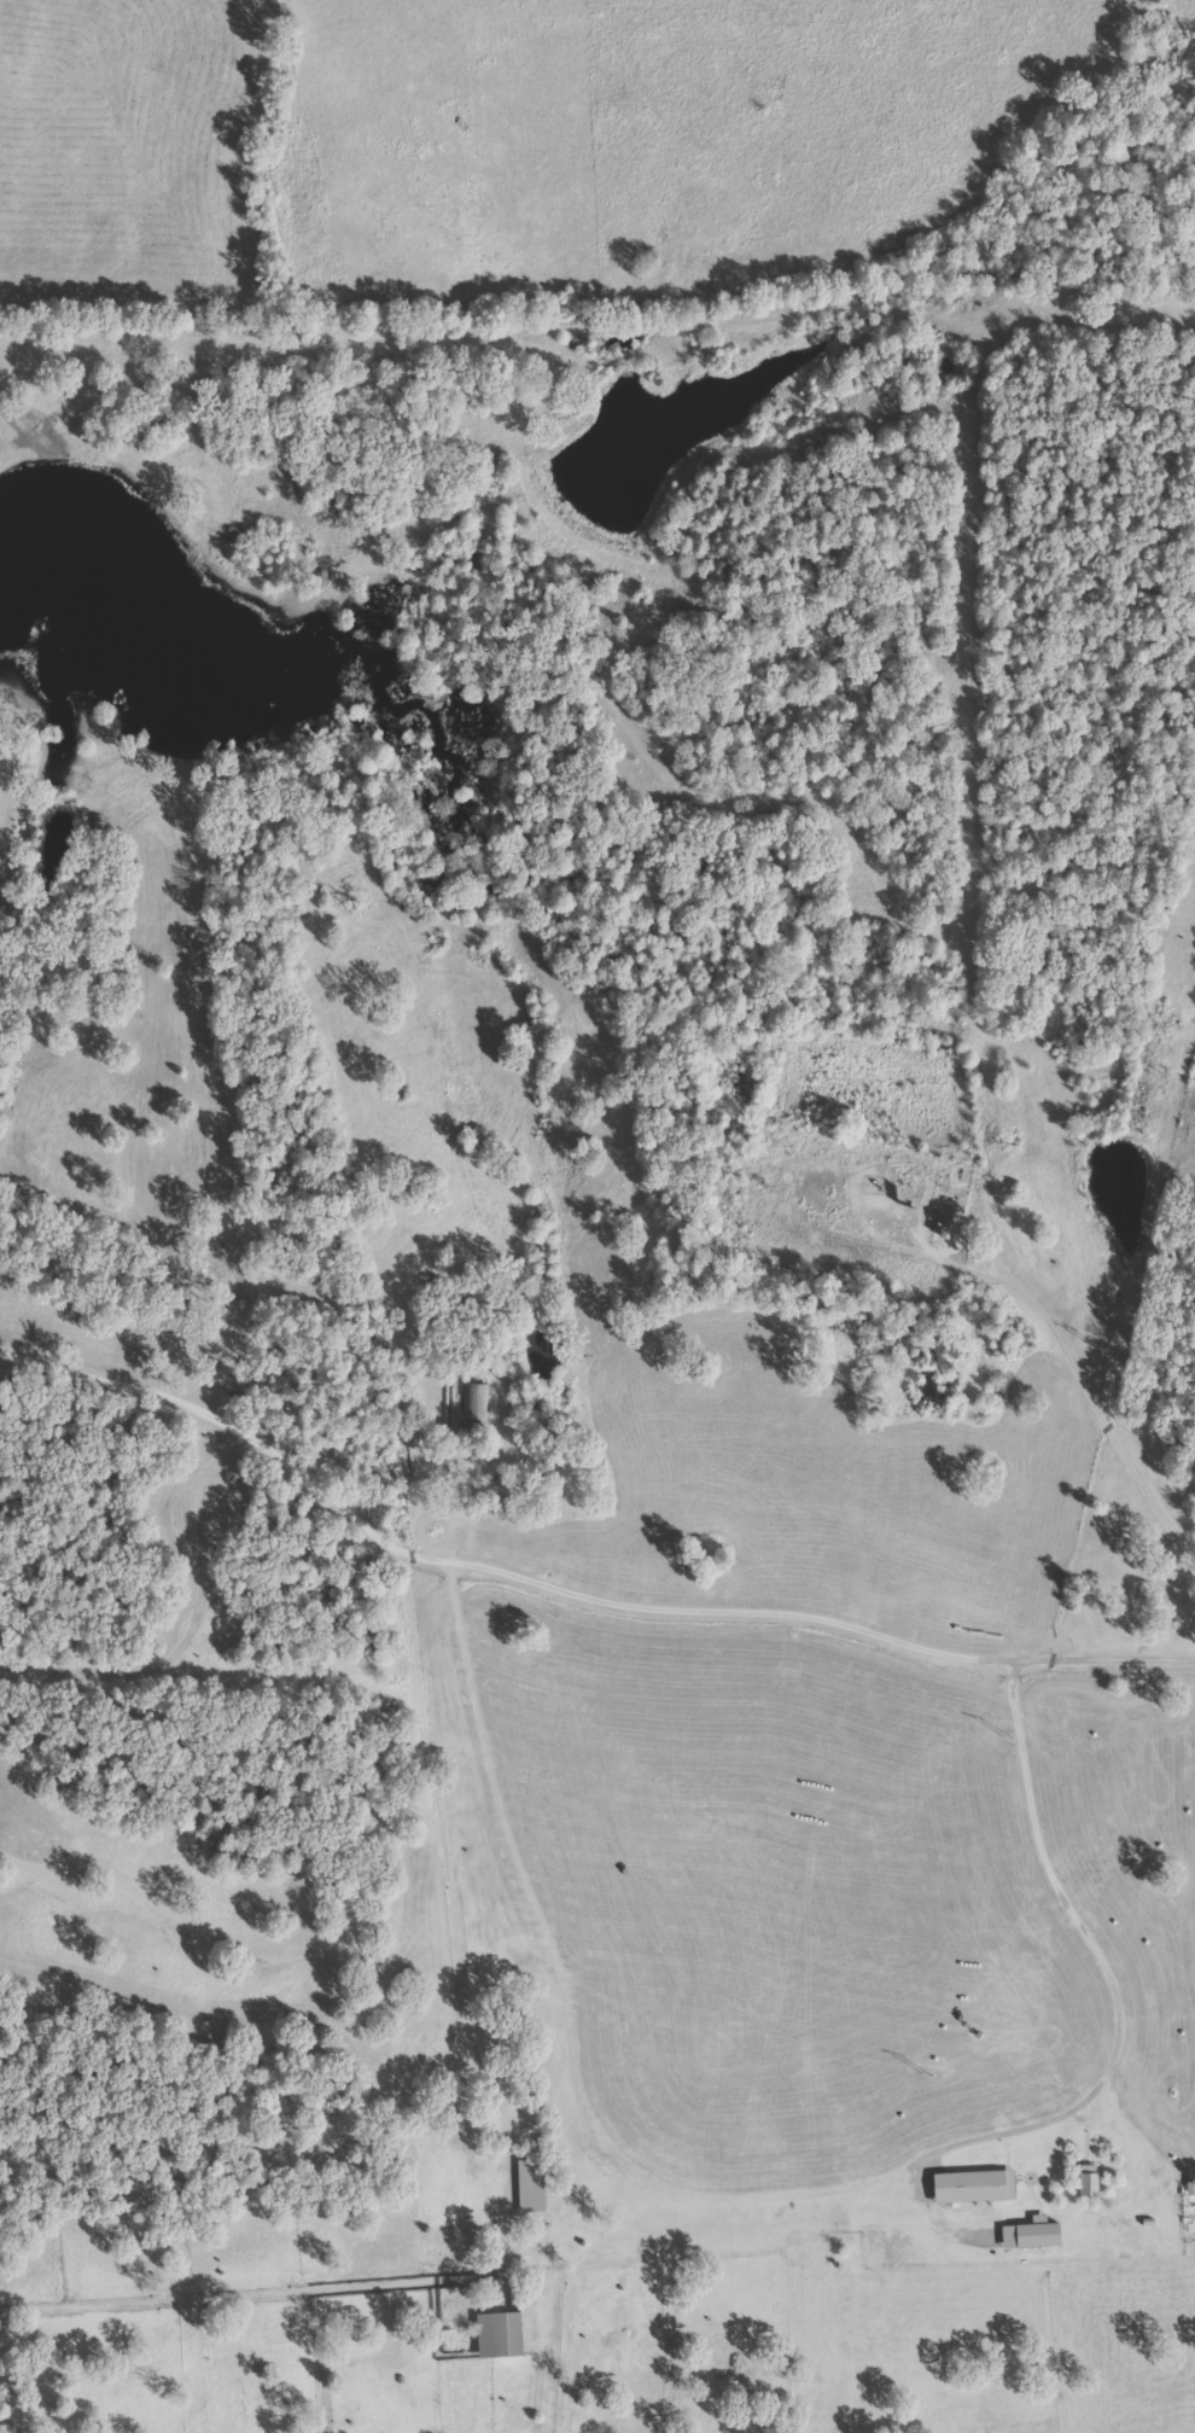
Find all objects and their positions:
building: (478, 1403)
road: (810, 1637)
power tower: (1009, 1741)
road: (471, 1812)
building: (1088, 2182)
building: (973, 2188)
building: (1030, 2236)
building: (500, 2336)

